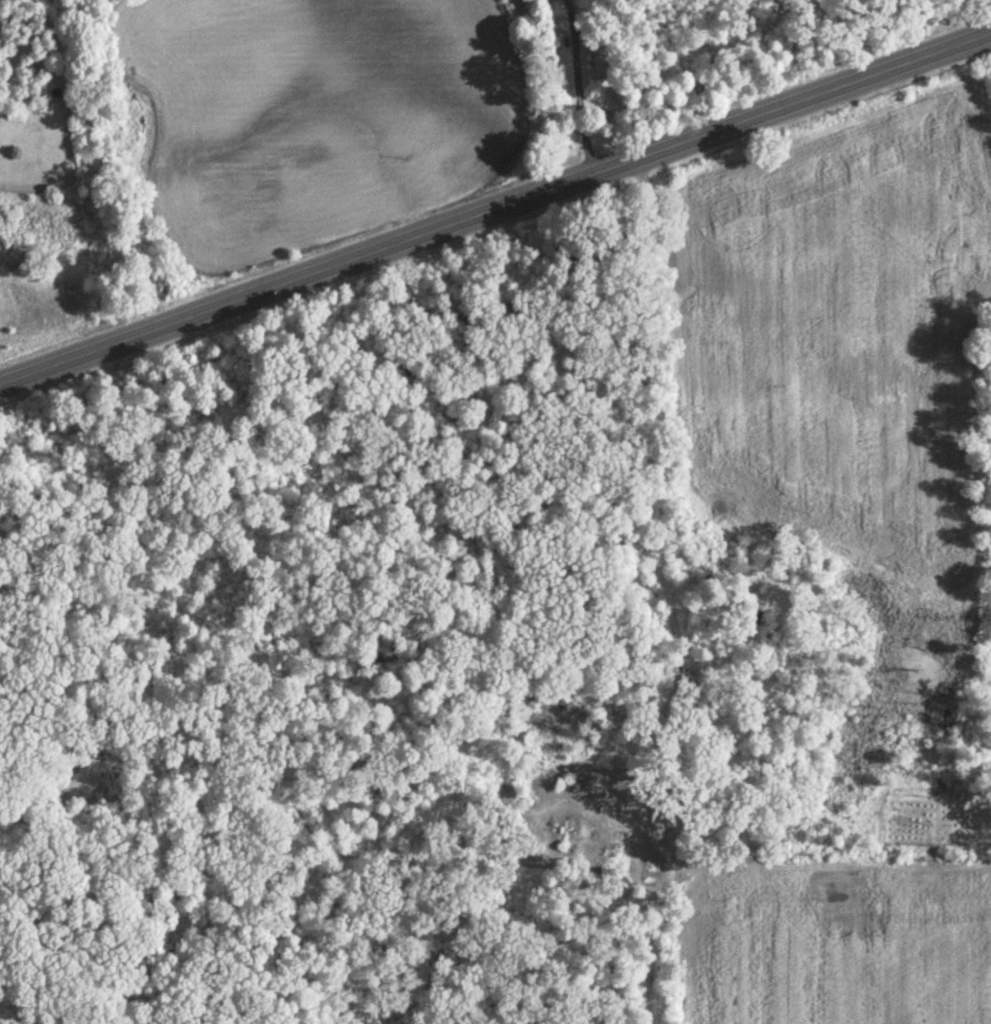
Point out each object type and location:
building: (603, 61)
road: (577, 77)
road: (812, 77)
road: (317, 255)

